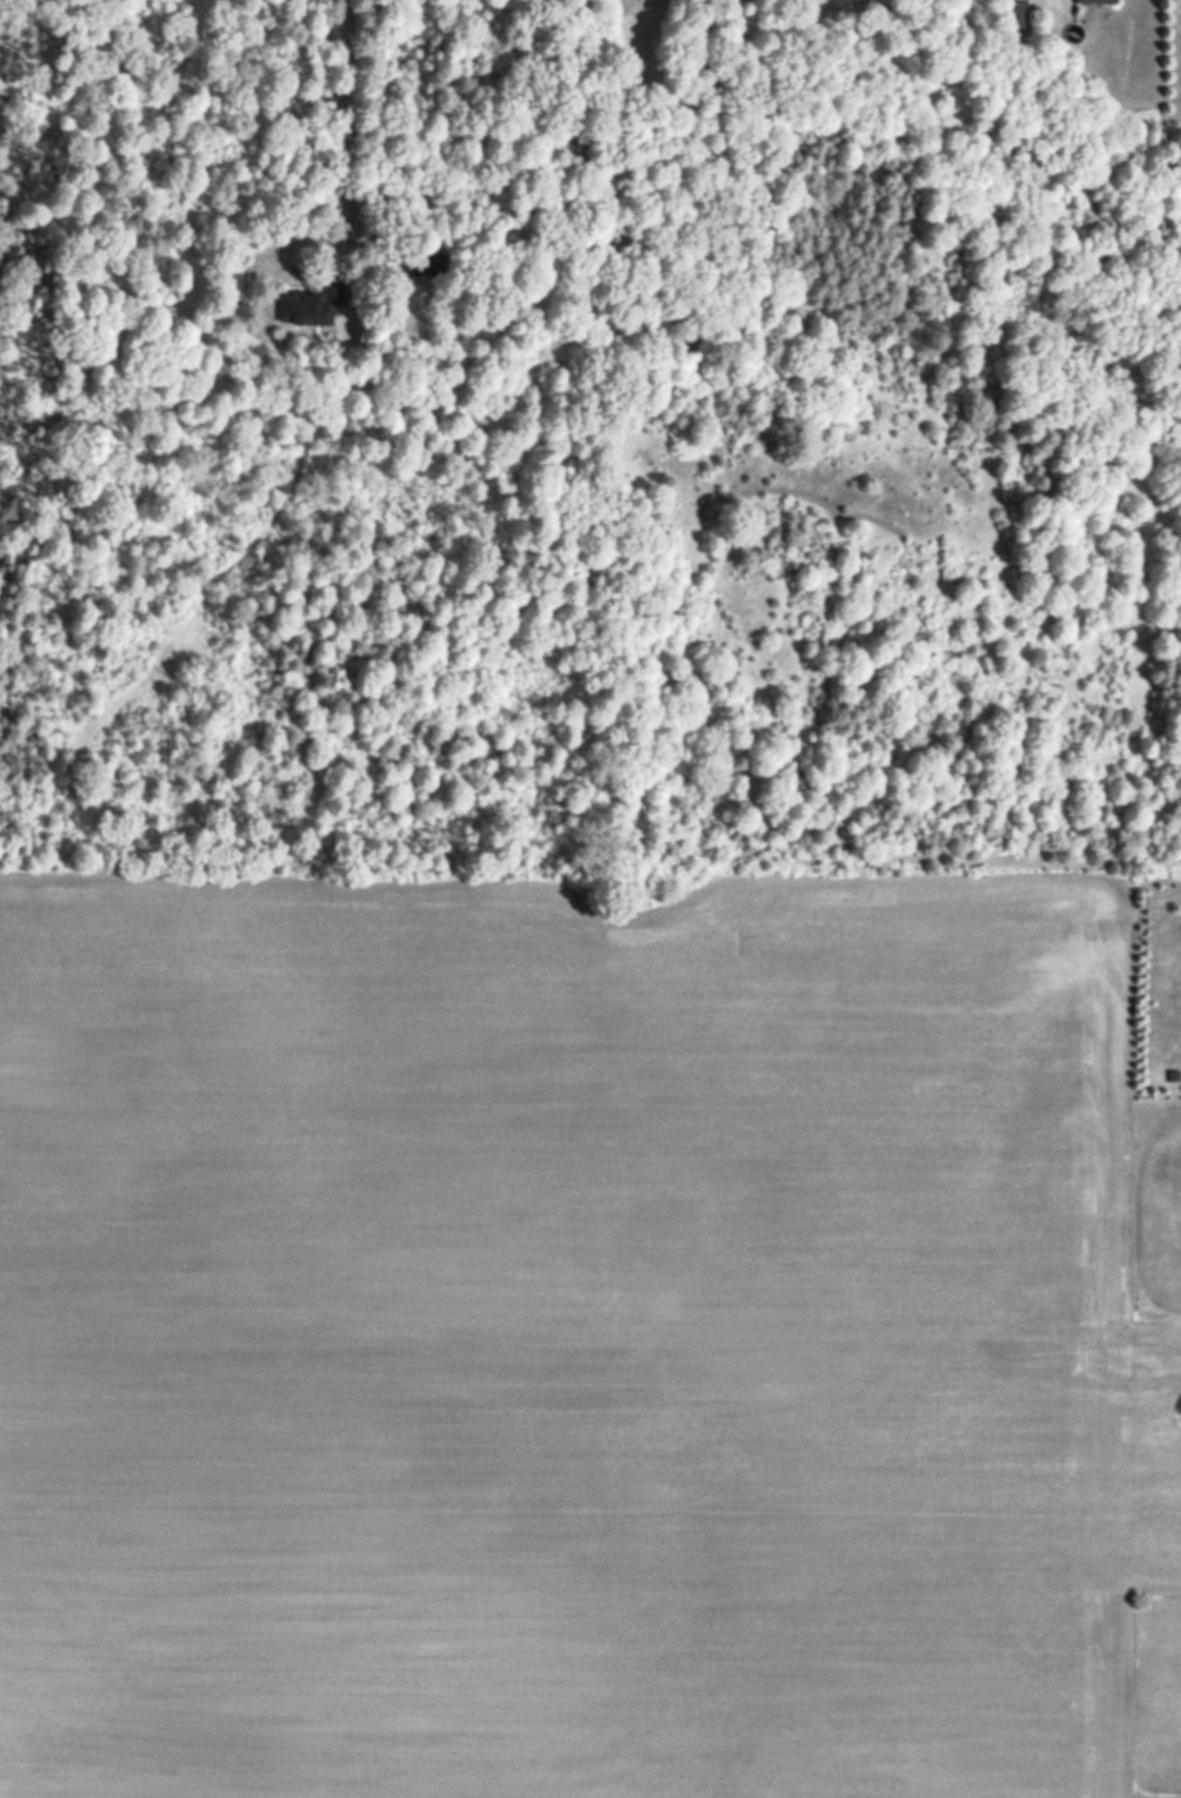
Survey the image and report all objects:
building: (1096, 1)
building: (1016, 13)
building: (307, 304)

